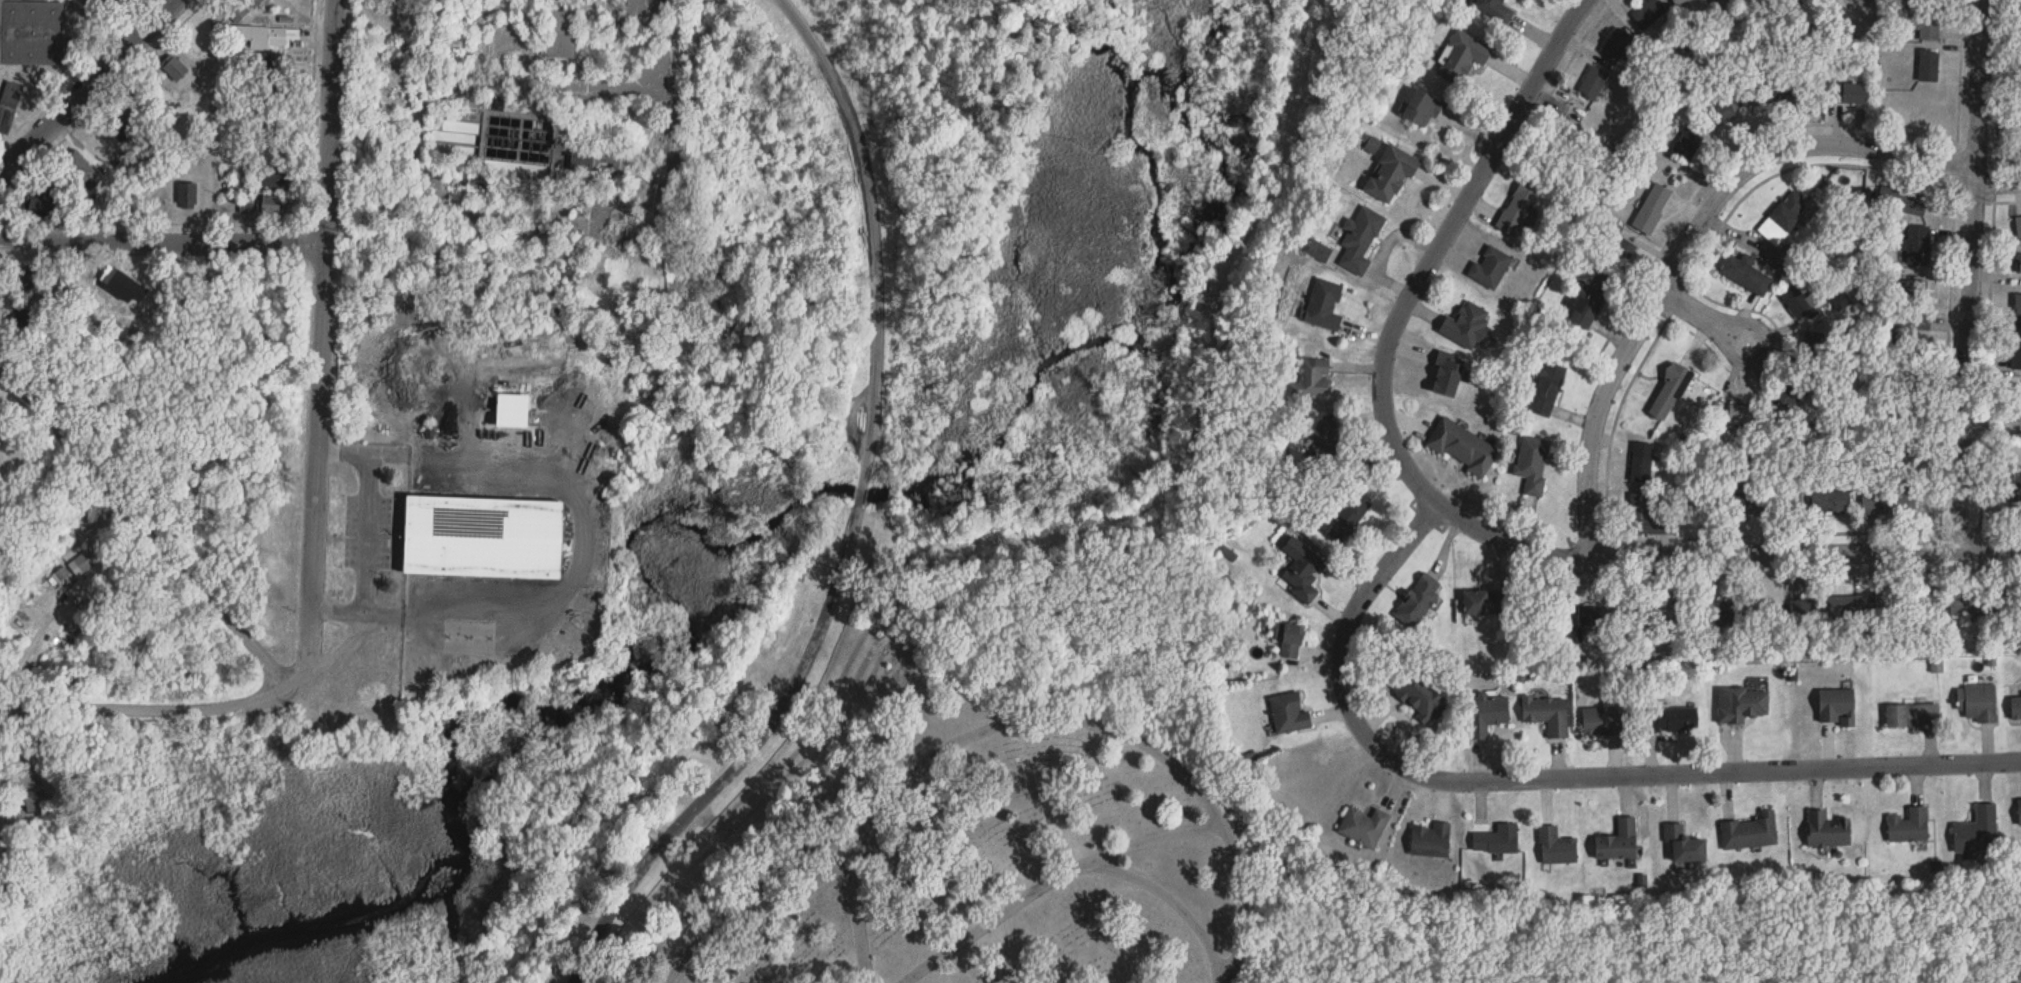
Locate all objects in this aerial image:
building: (1678, 1)
building: (253, 3)
building: (1494, 9)
building: (236, 12)
building: (1650, 13)
building: (1927, 24)
building: (31, 33)
building: (560, 33)
building: (261, 38)
road: (677, 40)
building: (1616, 44)
road: (1573, 49)
building: (1461, 57)
building: (1675, 59)
building: (1929, 66)
building: (174, 68)
road: (1959, 70)
building: (1593, 82)
road: (91, 89)
building: (1772, 93)
building: (1847, 94)
building: (8, 107)
building: (1422, 109)
building: (1575, 114)
building: (1721, 115)
road: (217, 122)
building: (122, 129)
building: (1687, 145)
building: (529, 148)
road: (1731, 150)
building: (79, 168)
building: (1391, 173)
building: (271, 179)
road: (1994, 180)
building: (58, 188)
building: (187, 196)
building: (38, 204)
road: (444, 204)
building: (1907, 204)
building: (269, 205)
building: (247, 208)
building: (1518, 208)
building: (1652, 208)
building: (1784, 219)
road: (1697, 223)
building: (2018, 228)
road: (877, 231)
building: (1360, 240)
road: (165, 244)
building: (1917, 246)
building: (2019, 265)
building: (1490, 268)
road: (1969, 273)
building: (1745, 275)
building: (2, 293)
building: (1915, 294)
building: (1591, 301)
building: (1797, 302)
building: (1324, 305)
road: (1703, 314)
building: (2018, 314)
building: (20, 320)
building: (1466, 326)
road: (326, 345)
river: (1065, 350)
building: (2016, 357)
building: (1910, 371)
building: (1446, 375)
building: (1313, 376)
building: (1547, 385)
building: (554, 390)
building: (1668, 393)
building: (1792, 394)
road: (1618, 404)
building: (1907, 409)
building: (1743, 414)
road: (1943, 415)
building: (1326, 441)
building: (1462, 447)
building: (1903, 457)
building: (1533, 463)
building: (1642, 463)
building: (2013, 484)
road: (860, 493)
building: (1831, 500)
building: (1787, 503)
building: (1888, 503)
building: (1749, 504)
building: (1704, 505)
road: (1448, 507)
building: (1646, 516)
building: (1345, 518)
road: (149, 522)
road: (2000, 526)
road: (368, 533)
building: (482, 536)
road: (584, 538)
building: (86, 560)
building: (1302, 569)
road: (1816, 571)
building: (2006, 599)
building: (1418, 600)
building: (1960, 600)
building: (1925, 601)
building: (1484, 602)
building: (1886, 603)
building: (1840, 605)
building: (1801, 606)
building: (1758, 607)
building: (1713, 609)
building: (1633, 611)
building: (1591, 613)
building: (1289, 639)
road: (346, 647)
building: (1420, 697)
building: (1976, 700)
building: (1835, 703)
building: (1741, 704)
building: (2014, 704)
building: (1909, 712)
building: (1289, 713)
road: (152, 714)
building: (1547, 714)
building: (1486, 715)
building: (1671, 719)
building: (1602, 721)
river: (451, 749)
road: (745, 760)
road: (1551, 776)
building: (32, 801)
building: (2018, 809)
road: (882, 814)
building: (1909, 826)
building: (1364, 827)
building: (1827, 831)
building: (1975, 831)
building: (1750, 832)
road: (1163, 835)
building: (1431, 840)
building: (1497, 841)
building: (1618, 842)
building: (1685, 844)
building: (1556, 847)
park: (1003, 850)
road: (755, 887)
road: (1240, 893)
road: (1172, 901)

